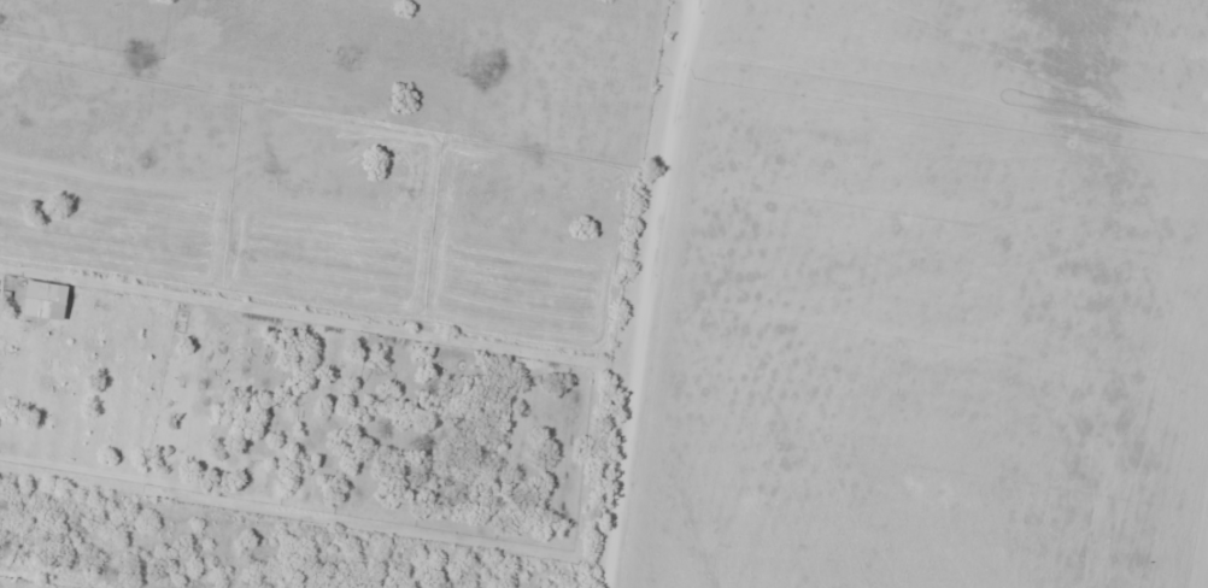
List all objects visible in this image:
road: (569, 293)

